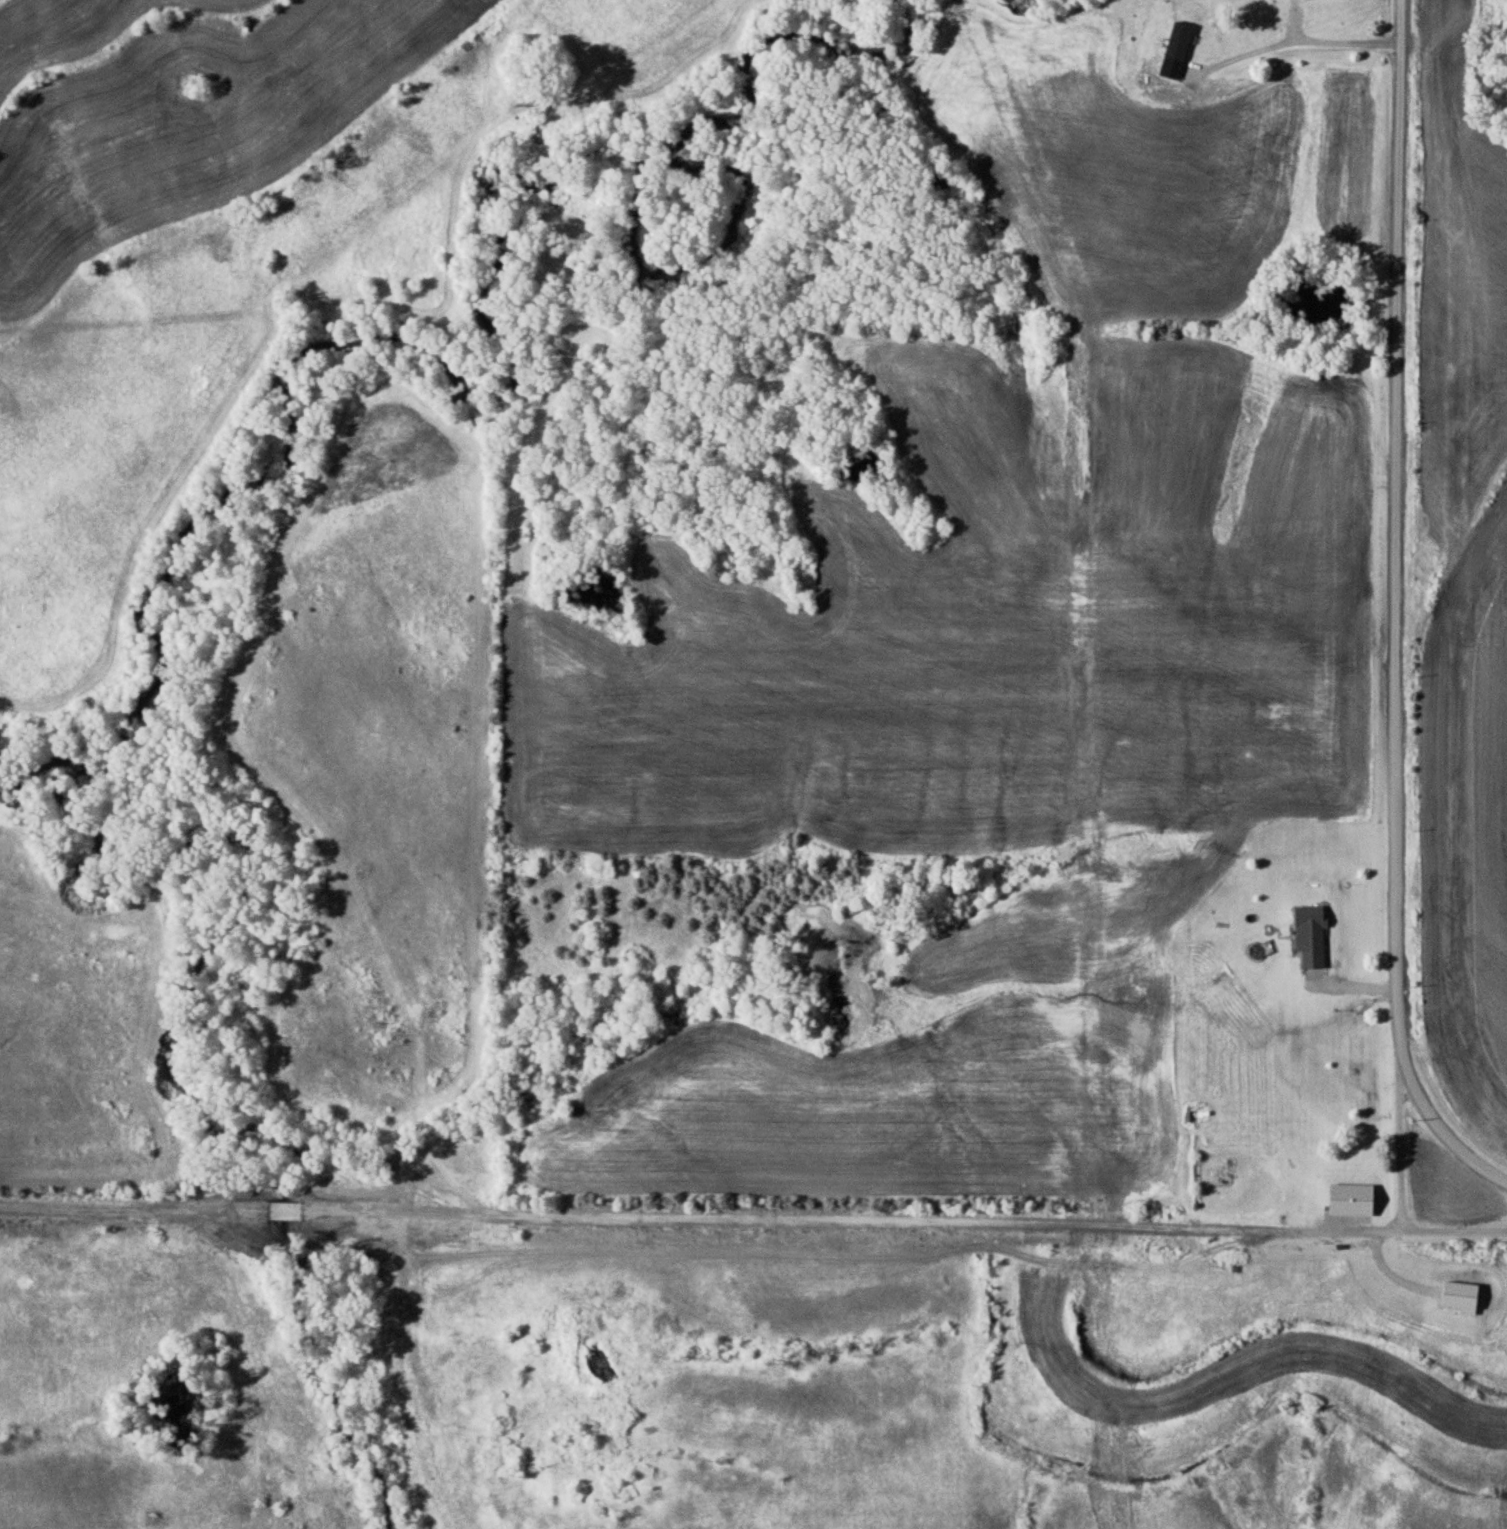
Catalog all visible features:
building: (1207, 38)
road: (1399, 611)
building: (1312, 936)
road: (1399, 1139)
building: (1230, 1167)
road: (753, 1221)

